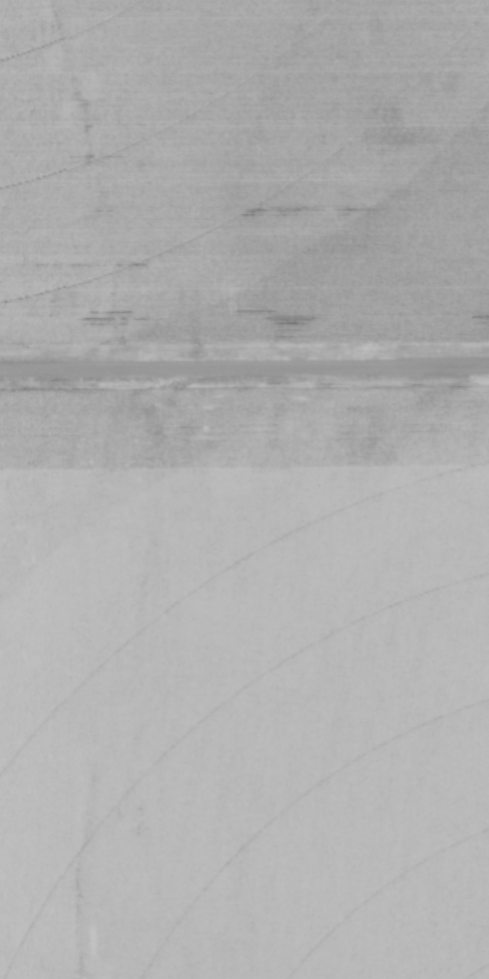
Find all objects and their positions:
road: (244, 371)

